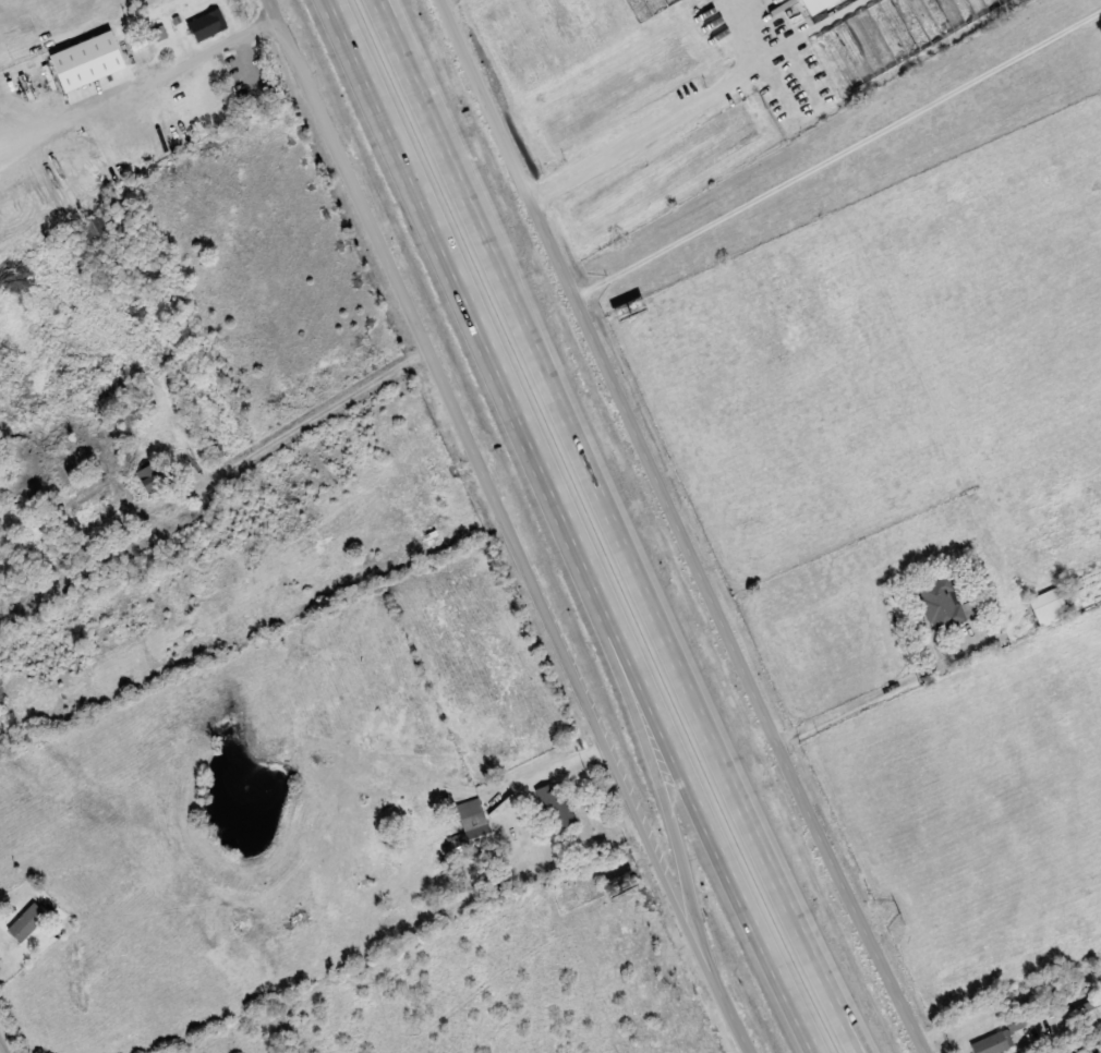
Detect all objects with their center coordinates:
building: (654, 4)
building: (811, 4)
building: (205, 25)
road: (343, 34)
building: (888, 34)
road: (238, 38)
road: (654, 124)
road: (834, 158)
road: (312, 412)
building: (149, 476)
road: (506, 526)
road: (617, 526)
road: (674, 526)
road: (566, 528)
building: (942, 604)
building: (1046, 607)
road: (885, 694)
road: (642, 747)
road: (552, 776)
building: (554, 806)
building: (471, 821)
building: (25, 922)
building: (1088, 1012)
building: (989, 1043)
road: (0, 1051)

